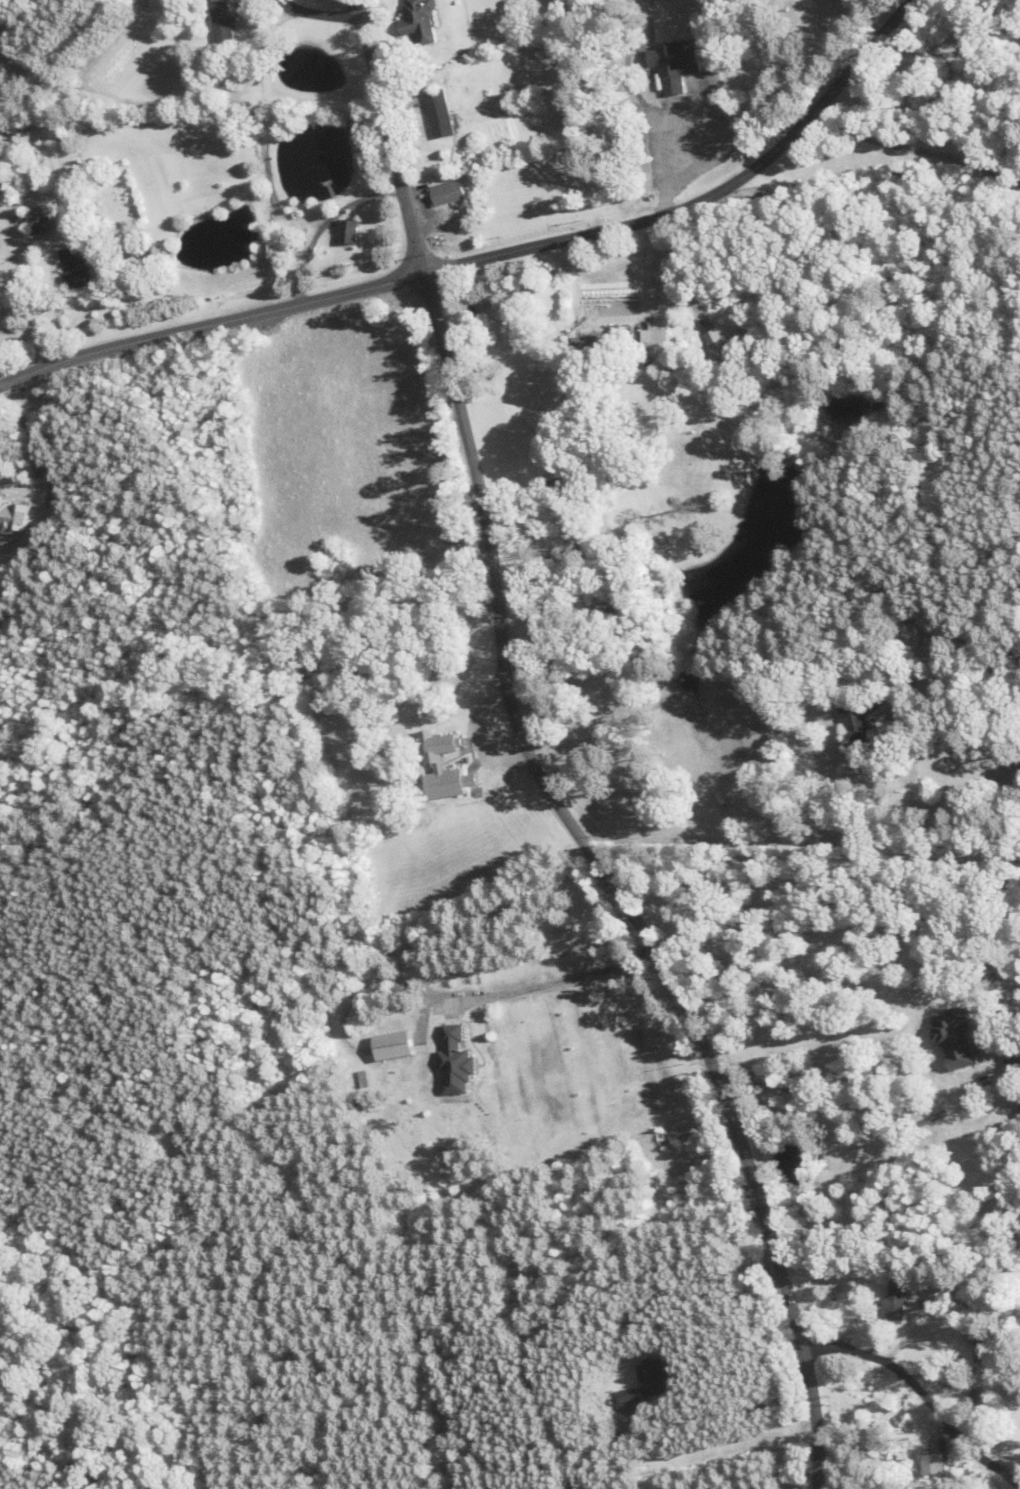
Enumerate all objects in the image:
park: (614, 3)
road: (315, 14)
building: (422, 21)
building: (225, 22)
building: (676, 62)
building: (442, 114)
road: (918, 149)
building: (451, 193)
road: (704, 197)
building: (42, 218)
building: (351, 230)
building: (75, 268)
road: (210, 324)
building: (508, 331)
building: (721, 339)
building: (655, 345)
building: (584, 349)
building: (572, 478)
building: (853, 726)
road: (537, 765)
building: (445, 767)
road: (805, 856)
building: (1012, 1064)
road: (830, 1117)
building: (898, 1303)
building: (983, 1344)
building: (654, 1381)
building: (977, 1397)
road: (921, 1398)
building: (935, 1459)

